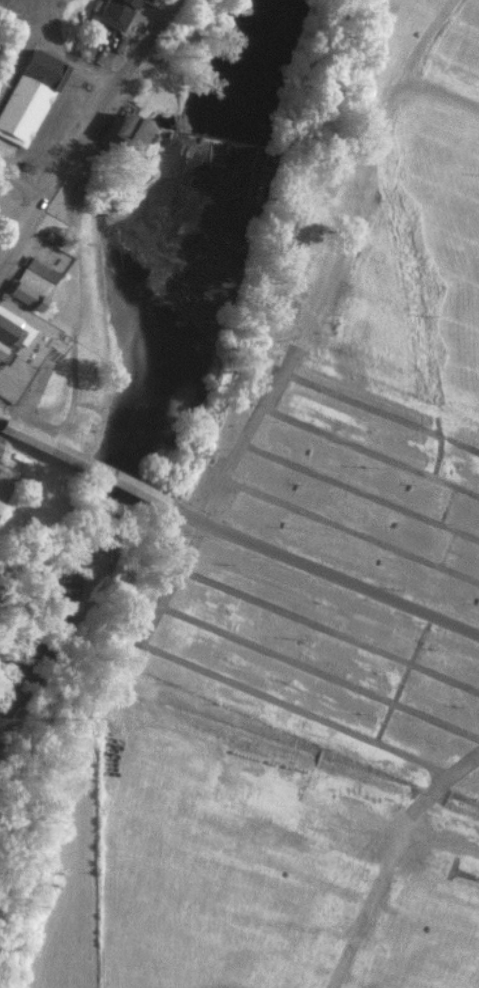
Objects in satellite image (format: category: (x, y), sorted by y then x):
building: (145, 1)
building: (115, 11)
building: (44, 68)
road: (63, 77)
road: (440, 91)
road: (104, 102)
building: (23, 108)
building: (133, 126)
road: (364, 167)
road: (20, 185)
river: (195, 231)
road: (20, 235)
building: (41, 269)
building: (34, 281)
building: (24, 292)
road: (72, 313)
building: (13, 329)
building: (2, 348)
road: (379, 409)
road: (1, 425)
building: (21, 431)
building: (0, 444)
road: (370, 451)
road: (437, 455)
road: (84, 465)
road: (358, 490)
building: (0, 498)
building: (1, 503)
road: (447, 504)
road: (350, 529)
road: (446, 547)
road: (322, 571)
river: (66, 590)
road: (328, 629)
road: (139, 639)
road: (319, 671)
road: (401, 678)
road: (461, 764)

